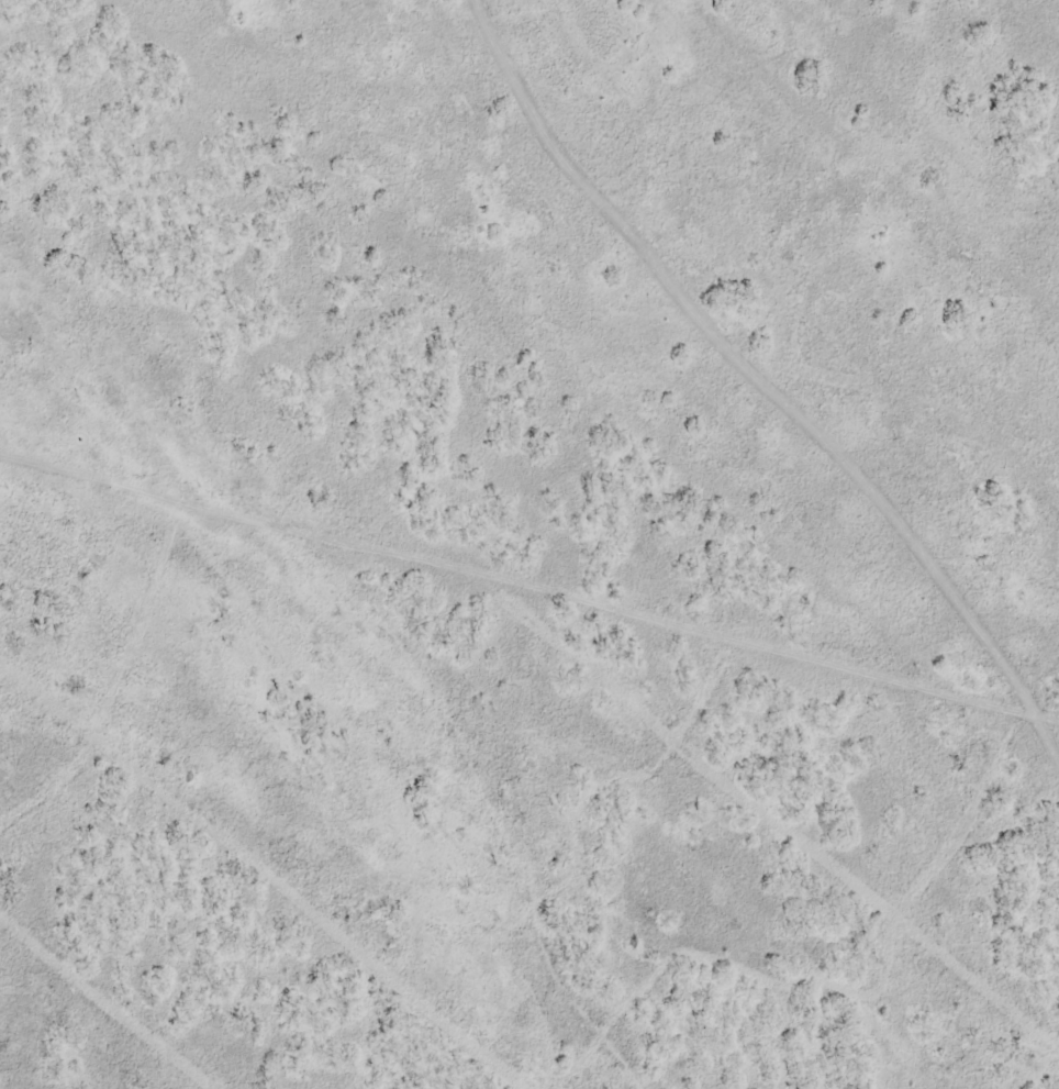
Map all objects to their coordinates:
road: (850, 124)

